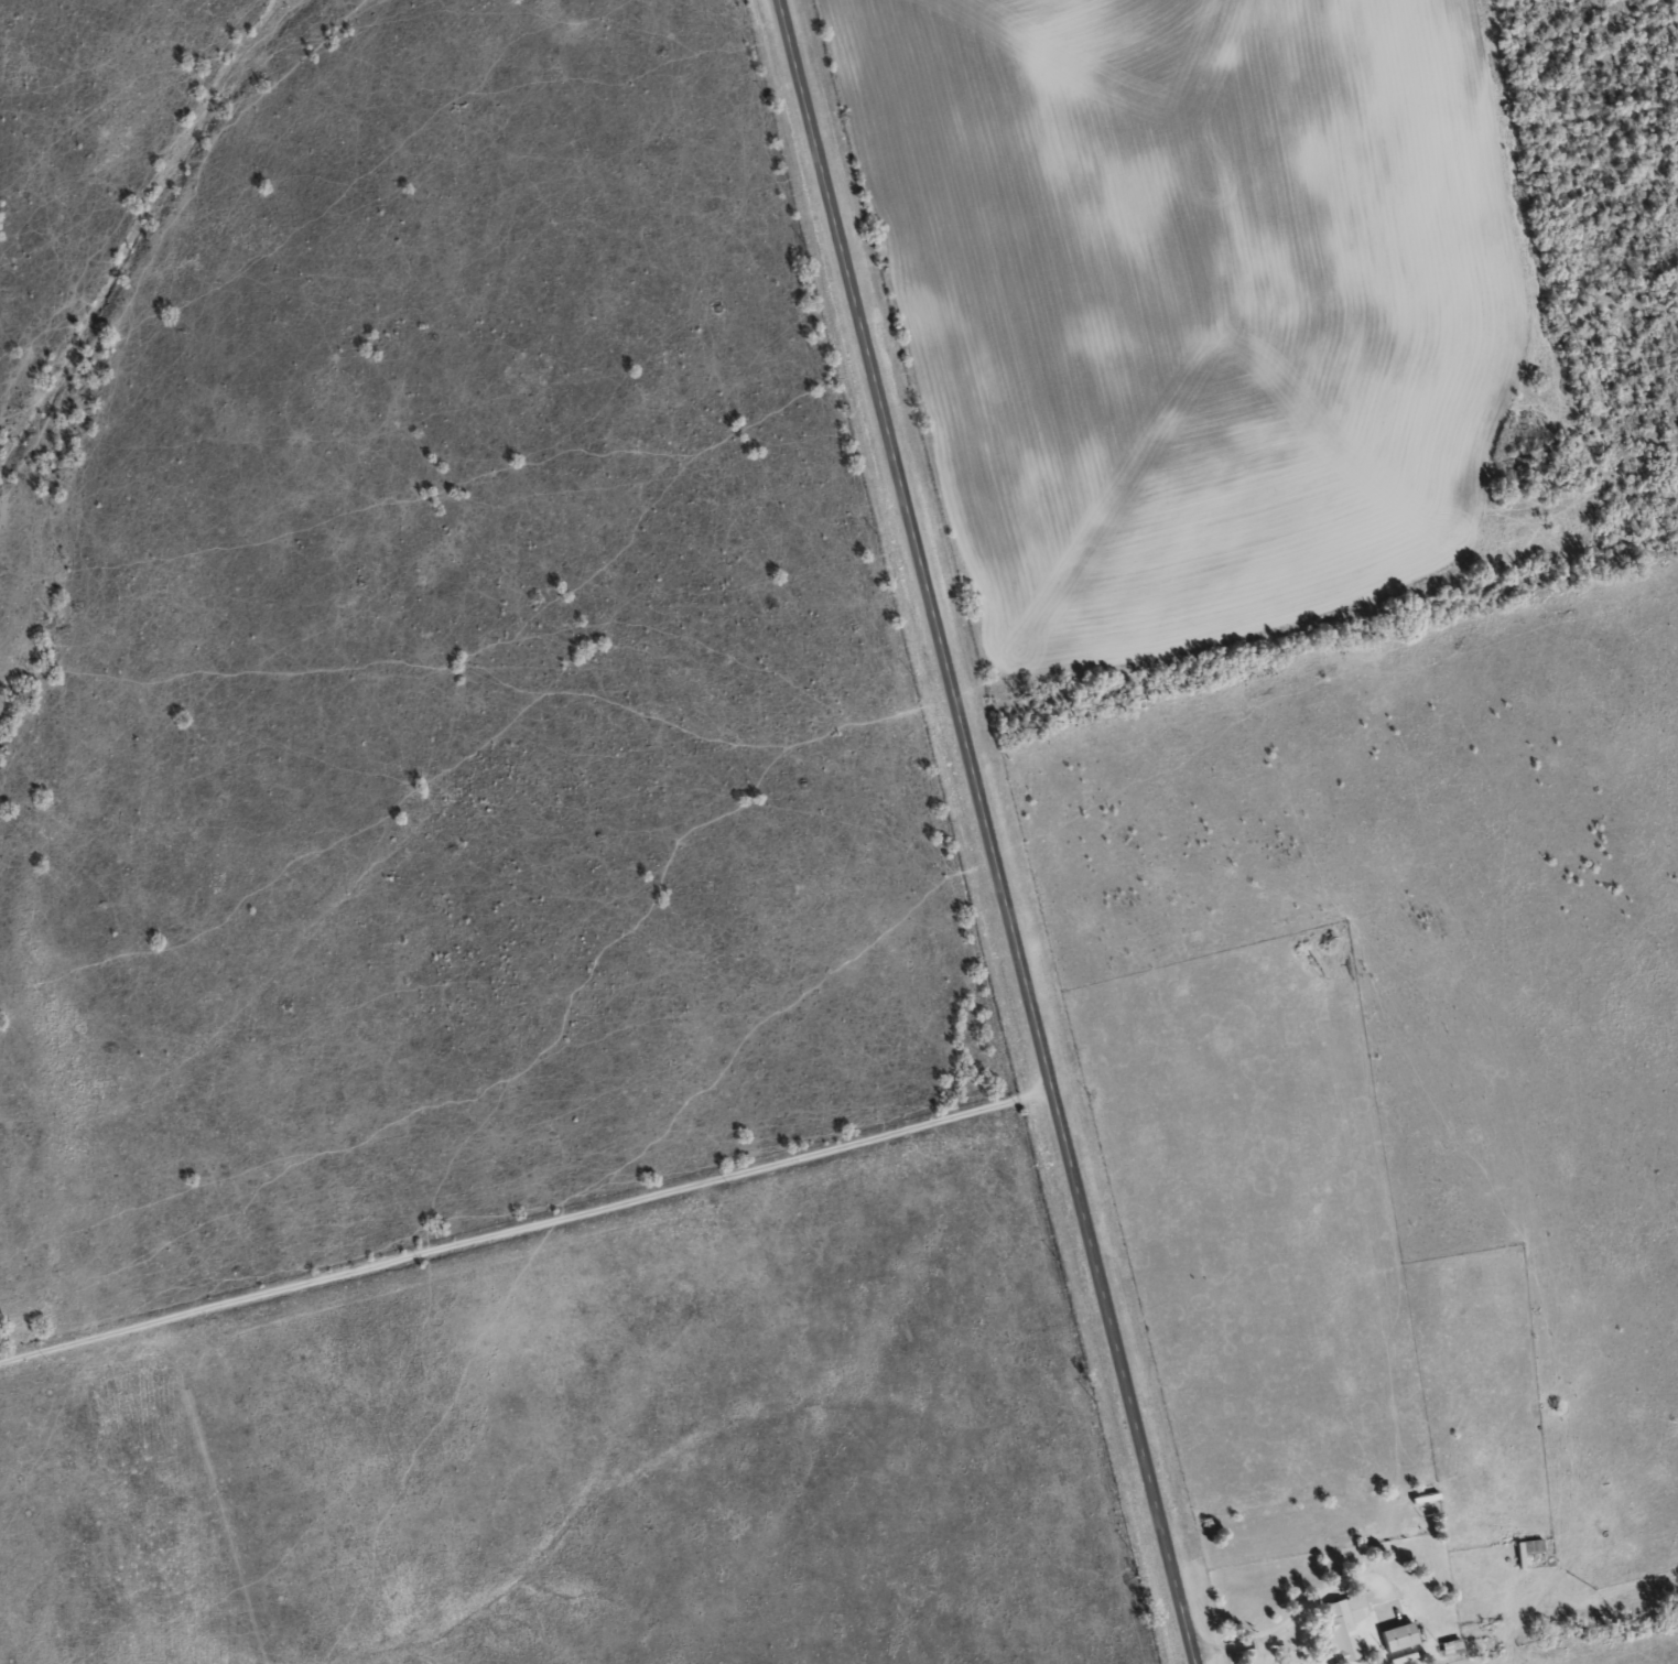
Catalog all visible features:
road: (983, 832)
road: (523, 1240)
building: (1401, 1635)

